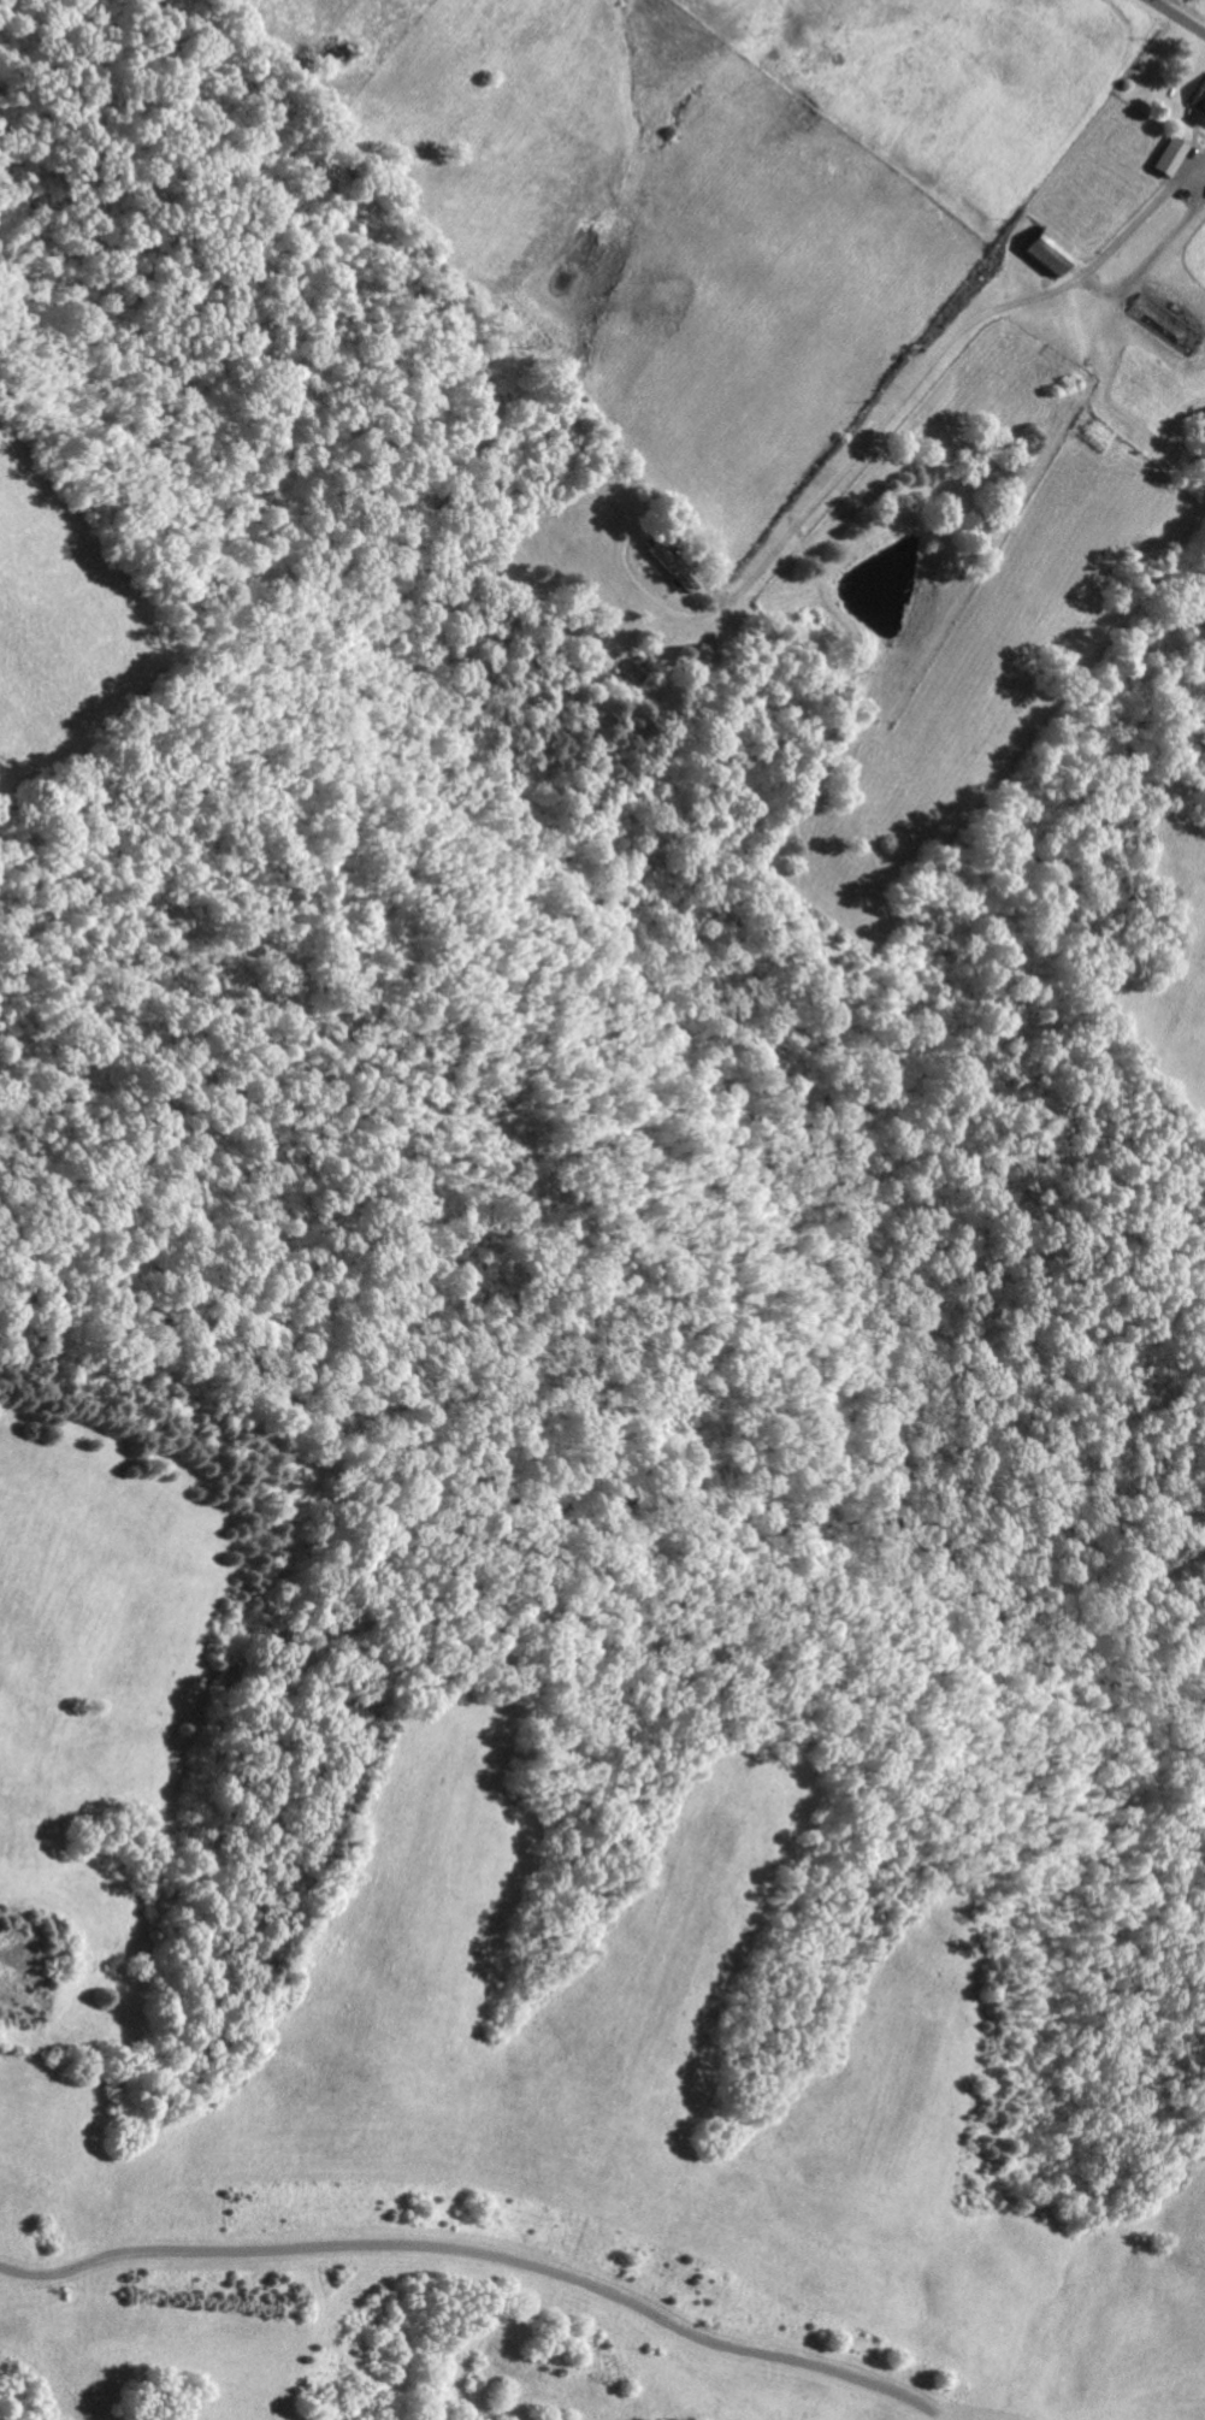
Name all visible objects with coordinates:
road: (1177, 16)
building: (1199, 105)
building: (1170, 153)
building: (1051, 248)
road: (938, 352)
building: (672, 565)

